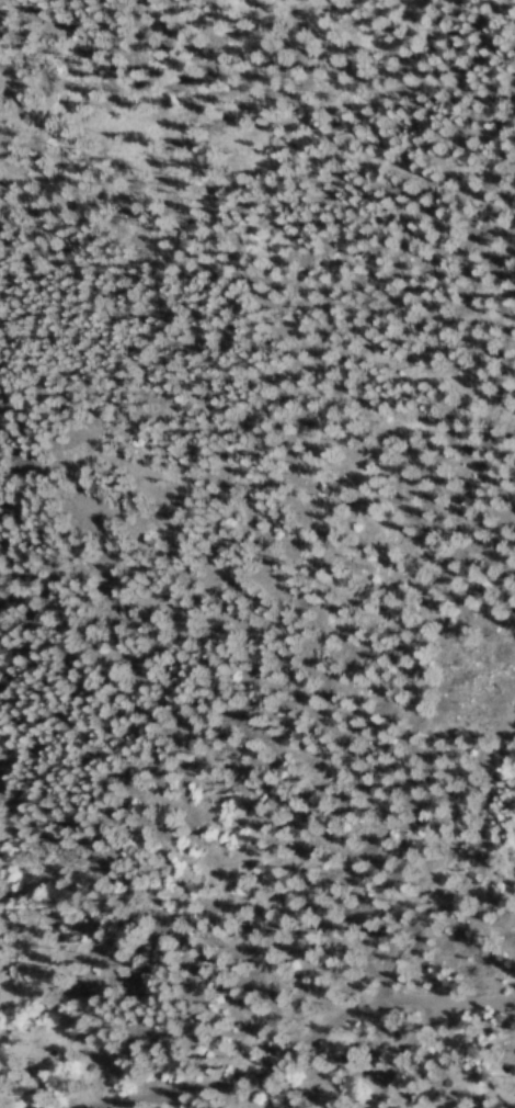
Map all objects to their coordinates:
road: (489, 1011)
road: (409, 1052)
road: (305, 1055)

